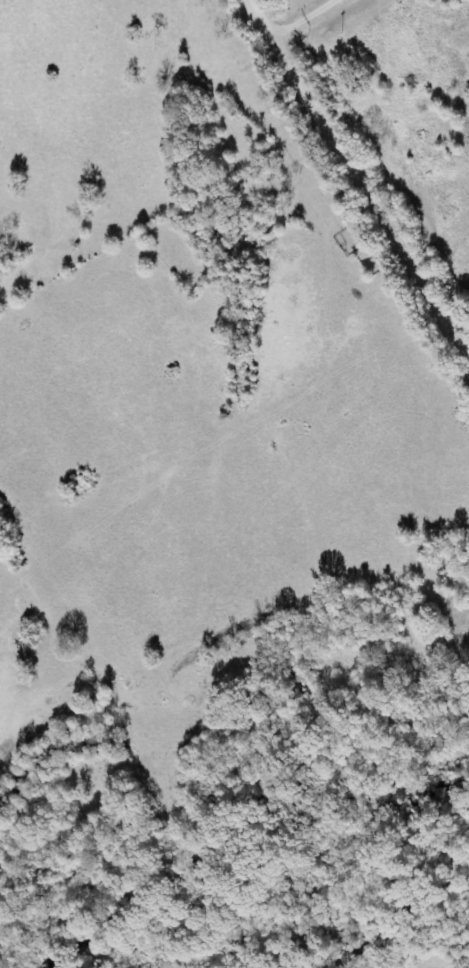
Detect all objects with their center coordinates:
road: (301, 18)
road: (358, 183)

